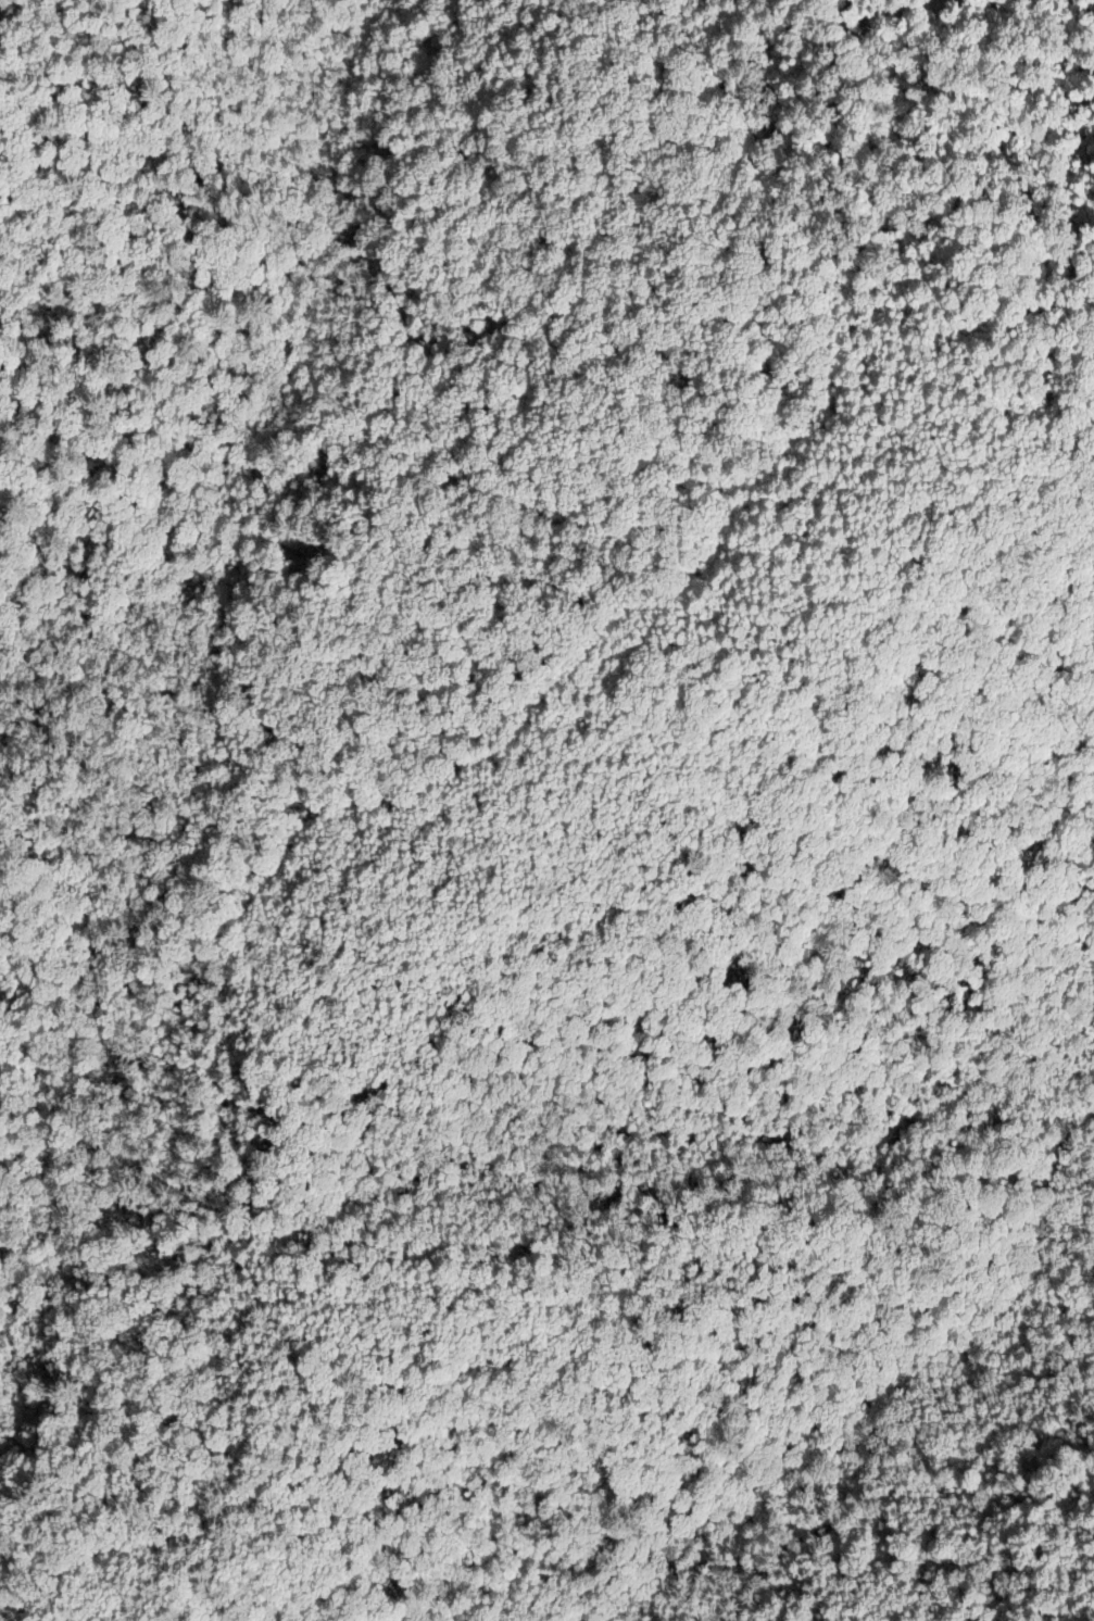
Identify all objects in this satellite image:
road: (905, 1497)

